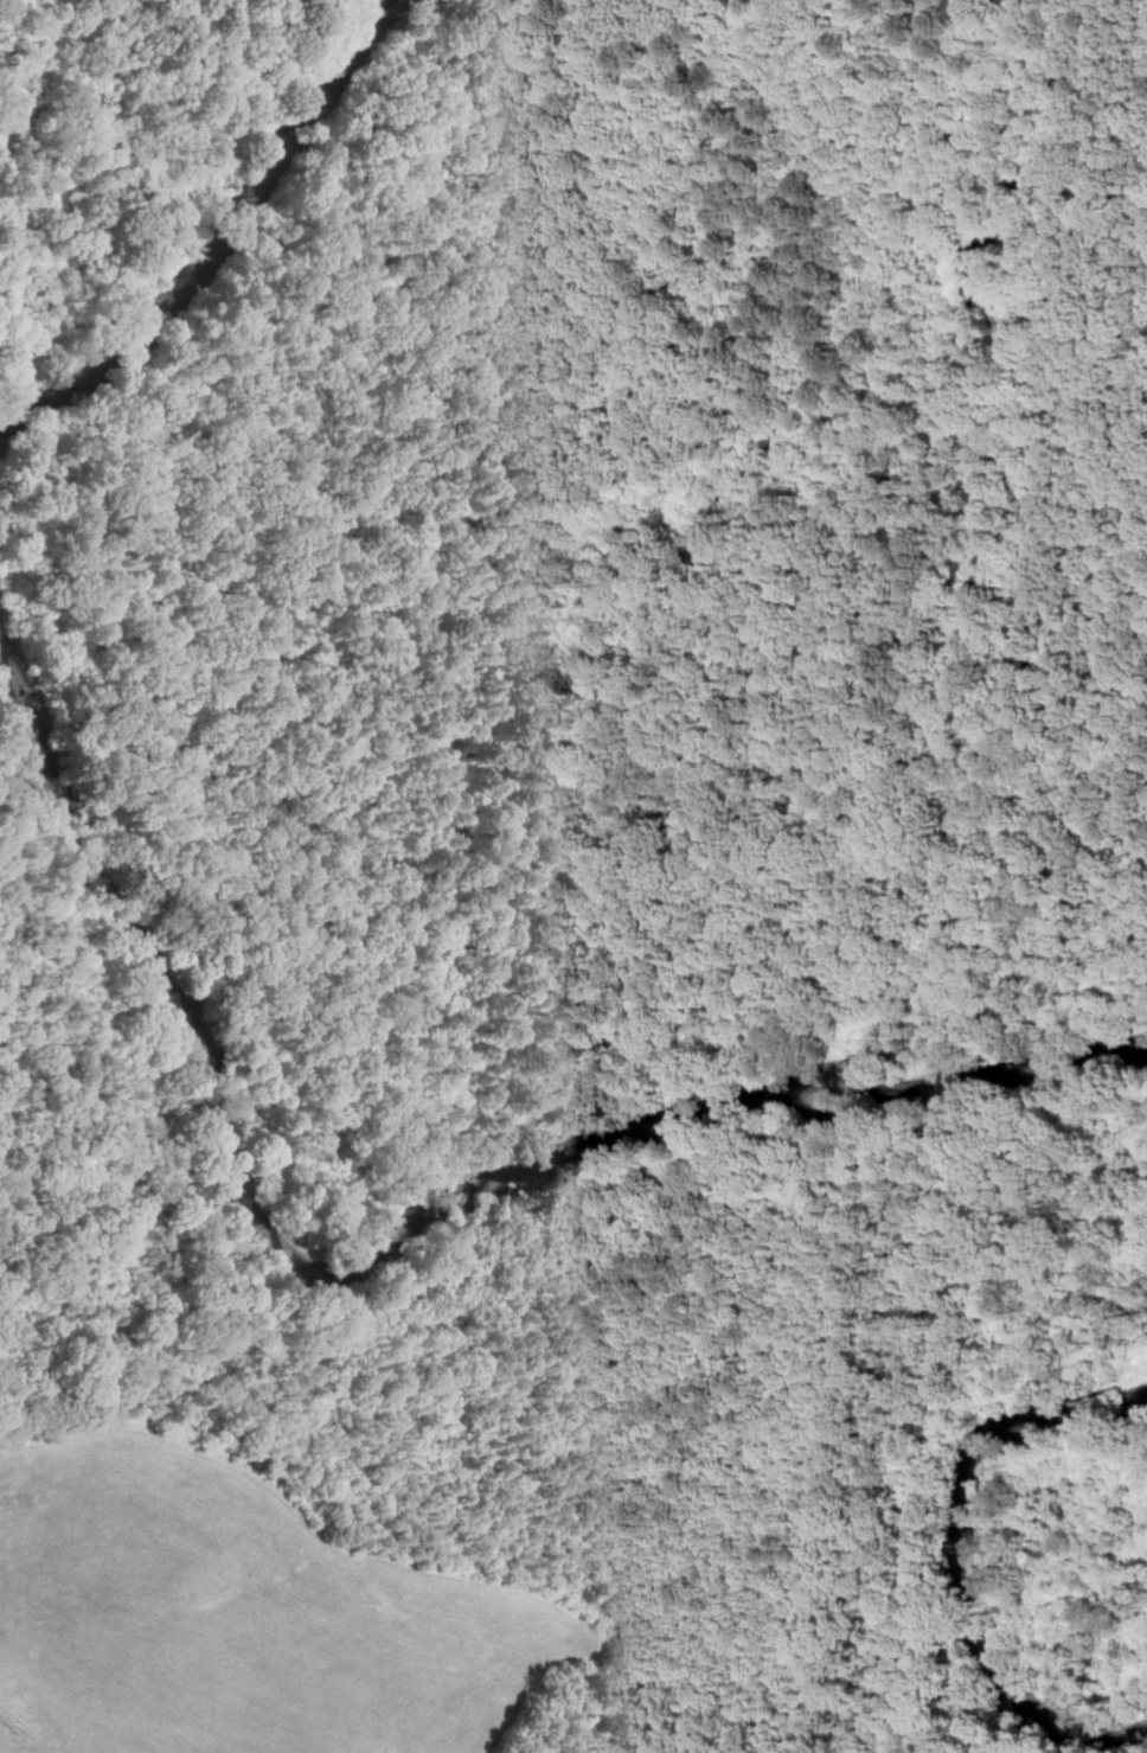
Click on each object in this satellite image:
river: (230, 242)
river: (393, 1237)
river: (962, 1560)

